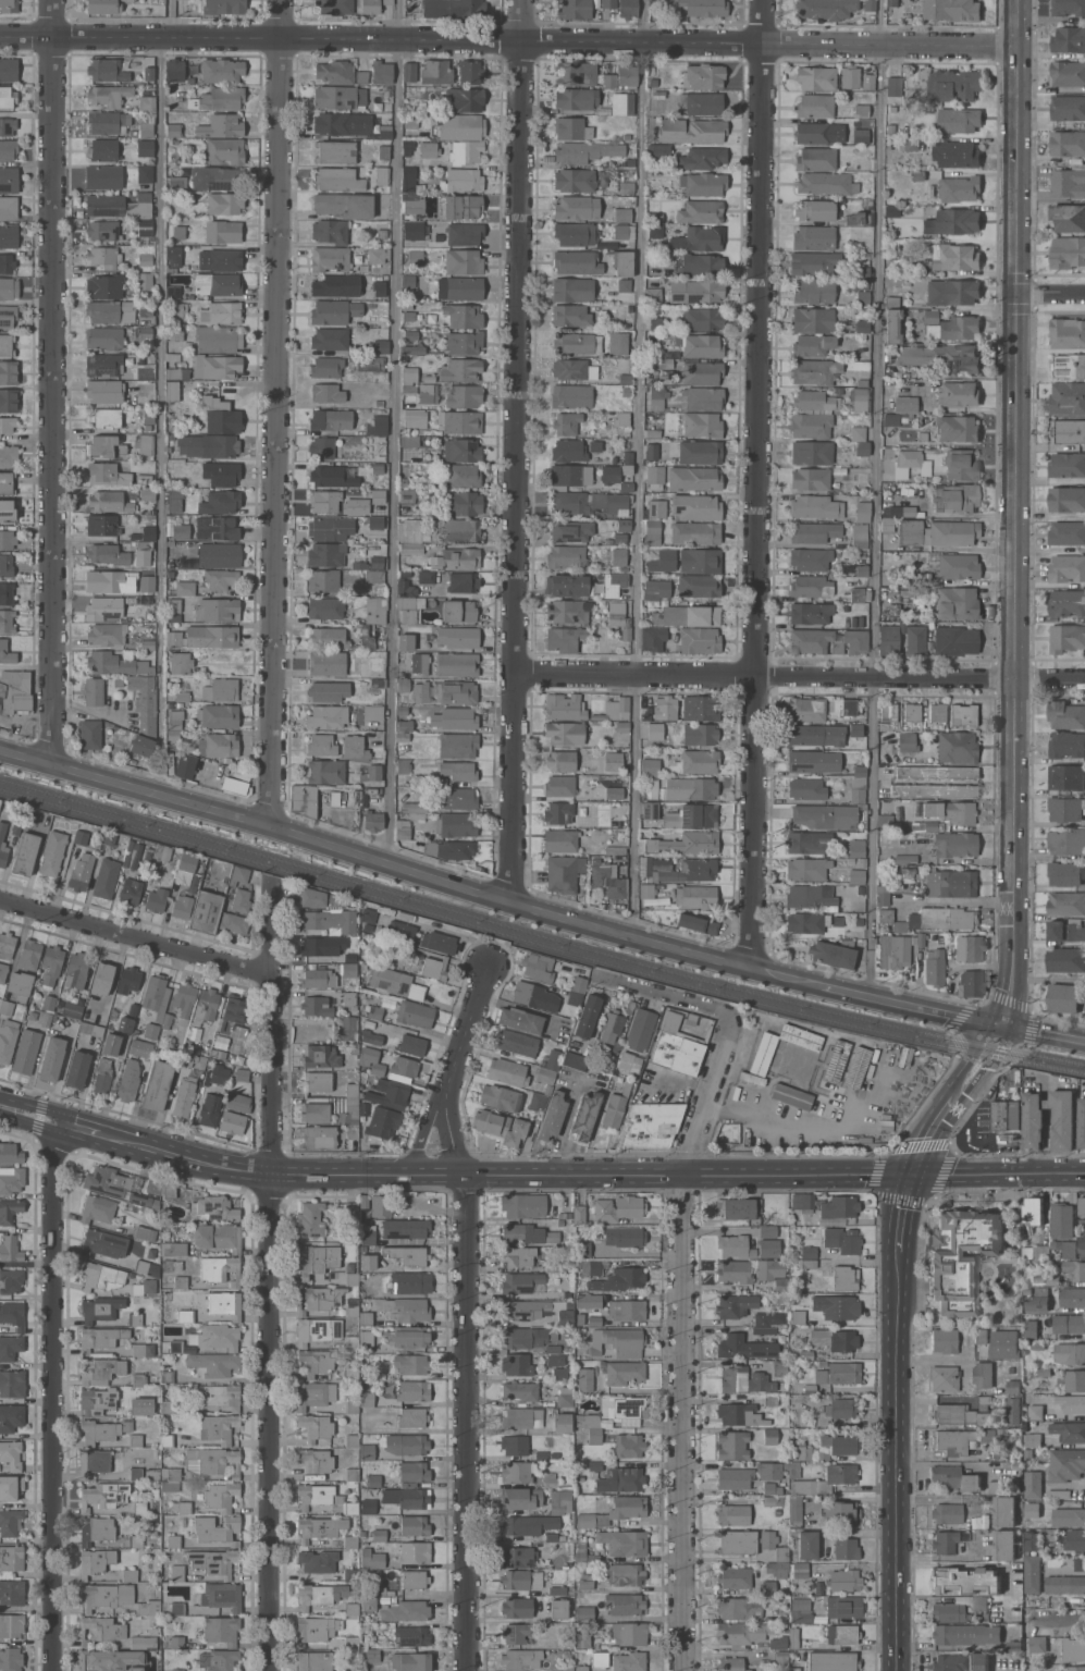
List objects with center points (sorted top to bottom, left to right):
building: (130, 0)
building: (387, 2)
building: (605, 3)
building: (613, 3)
building: (892, 3)
building: (9, 5)
building: (103, 5)
building: (371, 5)
building: (870, 5)
building: (224, 7)
building: (334, 7)
building: (705, 7)
building: (454, 8)
building: (628, 8)
building: (1068, 8)
building: (575, 9)
building: (825, 9)
building: (951, 10)
road: (170, 19)
road: (399, 20)
road: (642, 23)
road: (883, 23)
building: (1069, 38)
road: (508, 41)
building: (9, 69)
building: (104, 69)
building: (174, 70)
building: (221, 70)
building: (382, 71)
building: (436, 71)
building: (149, 72)
building: (335, 72)
building: (410, 72)
building: (471, 72)
building: (577, 73)
building: (1068, 73)
building: (627, 75)
building: (703, 75)
building: (361, 76)
building: (850, 76)
building: (816, 77)
building: (609, 79)
building: (653, 81)
building: (868, 81)
building: (953, 85)
building: (893, 86)
building: (386, 90)
building: (109, 94)
building: (657, 94)
building: (8, 97)
building: (340, 97)
building: (219, 98)
building: (576, 98)
building: (465, 99)
building: (147, 102)
building: (702, 102)
building: (622, 103)
building: (815, 105)
building: (1068, 108)
building: (862, 110)
building: (958, 120)
building: (108, 121)
building: (411, 122)
building: (343, 123)
building: (7, 125)
building: (221, 125)
building: (467, 127)
building: (571, 128)
building: (890, 128)
building: (143, 130)
building: (173, 130)
building: (692, 130)
building: (385, 131)
building: (822, 132)
building: (861, 135)
building: (909, 143)
building: (1068, 143)
building: (145, 147)
building: (408, 147)
building: (8, 148)
building: (103, 149)
building: (428, 149)
building: (659, 149)
building: (225, 150)
building: (335, 151)
building: (384, 151)
building: (465, 151)
building: (585, 151)
building: (957, 153)
building: (702, 158)
building: (816, 158)
building: (145, 173)
building: (382, 175)
building: (918, 175)
building: (103, 176)
building: (215, 177)
building: (337, 179)
building: (409, 179)
building: (9, 180)
building: (461, 180)
building: (575, 180)
building: (824, 182)
building: (1068, 182)
building: (177, 183)
building: (627, 183)
building: (704, 183)
building: (959, 187)
building: (842, 199)
building: (224, 202)
building: (344, 204)
building: (120, 205)
building: (414, 206)
building: (461, 206)
building: (9, 207)
building: (574, 207)
building: (816, 209)
building: (892, 210)
building: (701, 211)
building: (622, 214)
building: (655, 217)
building: (1068, 217)
building: (860, 218)
building: (953, 221)
building: (145, 226)
building: (410, 228)
building: (103, 230)
building: (175, 230)
building: (655, 230)
building: (223, 231)
building: (330, 231)
building: (620, 231)
building: (382, 233)
building: (465, 233)
building: (575, 233)
building: (9, 235)
building: (700, 237)
building: (814, 237)
building: (1068, 253)
building: (174, 255)
building: (379, 255)
building: (103, 256)
building: (415, 257)
building: (954, 257)
building: (146, 258)
building: (330, 258)
building: (221, 259)
building: (463, 261)
building: (577, 261)
building: (7, 262)
building: (622, 262)
building: (813, 262)
building: (702, 265)
building: (862, 272)
building: (145, 281)
building: (408, 282)
building: (218, 284)
building: (624, 284)
building: (104, 285)
building: (336, 285)
building: (380, 287)
building: (460, 287)
building: (9, 288)
building: (572, 288)
building: (695, 291)
building: (814, 291)
building: (952, 291)
building: (173, 292)
building: (653, 295)
road: (1050, 295)
building: (863, 297)
traffic signals: (1016, 297)
building: (892, 300)
building: (407, 305)
building: (146, 308)
building: (177, 310)
building: (111, 311)
building: (334, 311)
building: (221, 312)
building: (8, 315)
building: (409, 315)
building: (463, 315)
building: (571, 315)
building: (929, 316)
building: (702, 318)
building: (813, 319)
building: (384, 321)
building: (655, 323)
building: (862, 325)
building: (892, 325)
building: (954, 328)
building: (1066, 332)
building: (176, 333)
building: (410, 334)
building: (144, 335)
building: (106, 337)
building: (218, 339)
building: (330, 339)
building: (464, 342)
building: (578, 342)
building: (618, 343)
building: (813, 344)
building: (7, 345)
building: (381, 345)
building: (700, 345)
building: (412, 349)
building: (352, 357)
building: (940, 357)
building: (432, 359)
road: (638, 359)
building: (666, 363)
road: (877, 363)
building: (103, 365)
building: (215, 366)
building: (326, 366)
building: (373, 366)
building: (1070, 366)
building: (570, 368)
building: (460, 369)
building: (702, 371)
building: (815, 371)
building: (9, 372)
building: (177, 372)
building: (409, 374)
building: (429, 377)
building: (626, 378)
road: (51, 381)
building: (862, 382)
building: (104, 390)
building: (173, 390)
building: (328, 392)
building: (428, 393)
building: (959, 393)
building: (860, 394)
building: (409, 395)
building: (464, 395)
building: (570, 395)
building: (657, 396)
building: (703, 397)
building: (817, 398)
building: (1068, 398)
building: (9, 400)
building: (905, 404)
road: (276, 413)
building: (220, 415)
building: (149, 416)
road: (160, 416)
building: (106, 418)
building: (415, 418)
building: (621, 418)
building: (331, 419)
building: (891, 419)
building: (904, 419)
building: (460, 421)
building: (567, 422)
building: (7, 423)
building: (702, 423)
building: (380, 425)
building: (812, 425)
building: (148, 427)
building: (958, 428)
building: (1068, 431)
building: (653, 432)
building: (858, 432)
building: (923, 435)
building: (406, 440)
building: (144, 444)
building: (347, 444)
building: (106, 445)
building: (208, 445)
building: (322, 446)
building: (861, 447)
building: (463, 450)
road: (520, 450)
building: (568, 450)
road: (393, 451)
building: (651, 451)
building: (700, 452)
building: (812, 452)
building: (889, 452)
building: (8, 455)
building: (628, 457)
building: (911, 463)
building: (960, 464)
building: (1066, 465)
building: (378, 468)
building: (627, 469)
building: (221, 472)
building: (108, 474)
building: (463, 475)
building: (571, 475)
building: (331, 476)
building: (655, 476)
building: (614, 477)
building: (144, 478)
building: (693, 478)
building: (811, 478)
road: (1013, 480)
building: (178, 481)
building: (7, 482)
road: (753, 482)
building: (559, 487)
building: (148, 492)
building: (377, 495)
building: (407, 495)
building: (955, 497)
building: (1066, 499)
building: (175, 500)
building: (324, 500)
building: (109, 501)
building: (220, 501)
building: (589, 502)
building: (463, 503)
building: (356, 505)
building: (696, 506)
building: (816, 506)
building: (862, 507)
building: (657, 508)
building: (7, 509)
building: (902, 509)
building: (375, 521)
building: (102, 524)
building: (624, 525)
building: (887, 525)
building: (217, 527)
building: (330, 527)
building: (456, 529)
building: (571, 529)
building: (181, 530)
building: (148, 531)
building: (415, 531)
building: (653, 531)
building: (815, 531)
building: (695, 532)
building: (938, 532)
building: (1066, 532)
building: (860, 535)
building: (620, 537)
building: (8, 539)
building: (411, 548)
building: (143, 552)
building: (108, 553)
building: (219, 554)
building: (326, 554)
building: (566, 556)
building: (619, 556)
building: (456, 558)
building: (811, 558)
building: (700, 560)
building: (663, 561)
building: (375, 562)
building: (7, 564)
building: (358, 564)
building: (958, 565)
building: (1066, 568)
building: (861, 569)
building: (405, 574)
building: (374, 575)
building: (427, 576)
building: (220, 578)
building: (323, 579)
building: (110, 580)
building: (463, 581)
building: (147, 582)
building: (615, 582)
building: (569, 585)
building: (699, 585)
building: (811, 586)
building: (185, 587)
building: (406, 588)
building: (656, 588)
building: (900, 590)
building: (7, 592)
building: (858, 594)
building: (954, 602)
building: (1066, 602)
building: (325, 606)
building: (103, 607)
building: (847, 607)
building: (173, 609)
building: (217, 609)
building: (410, 609)
building: (375, 610)
building: (458, 610)
building: (893, 610)
building: (571, 611)
building: (809, 612)
building: (616, 613)
building: (688, 615)
building: (7, 621)
building: (861, 621)
building: (107, 632)
building: (626, 634)
building: (211, 636)
building: (368, 636)
building: (456, 636)
building: (328, 637)
building: (1066, 637)
building: (174, 638)
building: (564, 638)
building: (654, 638)
building: (699, 639)
building: (148, 640)
building: (955, 640)
building: (406, 641)
building: (809, 641)
building: (916, 642)
building: (355, 647)
building: (7, 652)
building: (403, 656)
building: (374, 660)
building: (180, 662)
building: (331, 662)
building: (420, 662)
building: (114, 663)
building: (456, 663)
road: (802, 677)
building: (119, 681)
building: (378, 681)
building: (403, 684)
building: (221, 689)
building: (15, 690)
building: (329, 690)
building: (94, 691)
building: (456, 691)
building: (417, 692)
building: (182, 696)
building: (145, 702)
building: (170, 705)
building: (565, 707)
building: (665, 707)
building: (701, 707)
building: (849, 707)
building: (645, 708)
building: (403, 709)
building: (614, 709)
building: (806, 709)
building: (373, 712)
building: (912, 712)
building: (937, 712)
building: (963, 714)
building: (1065, 714)
building: (219, 715)
building: (328, 715)
building: (887, 715)
building: (458, 717)
building: (175, 718)
building: (437, 723)
building: (405, 724)
building: (917, 725)
building: (621, 726)
building: (856, 729)
building: (654, 730)
building: (565, 732)
building: (700, 733)
building: (90, 734)
building: (173, 734)
building: (817, 734)
building: (403, 736)
building: (908, 741)
building: (221, 744)
building: (1066, 744)
building: (141, 745)
building: (322, 745)
building: (458, 745)
building: (354, 747)
building: (957, 747)
building: (187, 759)
building: (562, 760)
building: (700, 760)
building: (813, 760)
building: (613, 761)
building: (404, 765)
building: (650, 765)
building: (458, 770)
building: (326, 771)
building: (374, 771)
building: (859, 771)
building: (936, 771)
building: (1066, 777)
building: (440, 781)
building: (559, 785)
building: (680, 788)
building: (806, 788)
building: (306, 789)
building: (858, 789)
building: (934, 789)
building: (614, 791)
building: (459, 798)
building: (304, 803)
road: (633, 804)
building: (415, 807)
building: (1064, 809)
building: (951, 811)
building: (559, 812)
building: (414, 815)
building: (678, 815)
building: (826, 815)
building: (373, 820)
building: (885, 820)
building: (905, 823)
building: (455, 824)
building: (897, 824)
building: (924, 825)
building: (16, 826)
building: (403, 828)
road: (871, 836)
building: (81, 837)
building: (109, 837)
building: (560, 839)
building: (809, 840)
building: (686, 841)
building: (1066, 841)
building: (3, 844)
building: (955, 844)
building: (856, 848)
building: (455, 849)
building: (615, 849)
building: (52, 852)
building: (25, 853)
building: (148, 853)
building: (133, 855)
building: (160, 856)
road: (373, 858)
building: (905, 858)
building: (187, 862)
building: (646, 862)
building: (862, 862)
building: (807, 868)
building: (908, 869)
building: (690, 870)
building: (564, 872)
building: (1065, 873)
building: (856, 876)
building: (79, 877)
building: (106, 877)
building: (236, 878)
building: (608, 880)
building: (950, 882)
building: (646, 890)
building: (131, 892)
building: (883, 892)
building: (696, 896)
building: (810, 896)
building: (320, 897)
building: (157, 899)
building: (241, 899)
building: (1066, 904)
building: (182, 907)
building: (207, 911)
building: (368, 914)
building: (927, 918)
building: (329, 919)
building: (838, 920)
building: (859, 921)
building: (233, 922)
building: (807, 922)
building: (698, 923)
building: (403, 931)
building: (1065, 931)
railway: (539, 933)
road: (134, 935)
building: (922, 939)
building: (439, 942)
railway: (539, 943)
building: (7, 944)
building: (317, 946)
building: (969, 947)
building: (404, 948)
building: (900, 950)
building: (29, 954)
building: (831, 954)
building: (349, 957)
building: (1065, 959)
building: (51, 964)
building: (431, 967)
building: (538, 967)
building: (935, 967)
building: (77, 969)
building: (349, 969)
building: (3, 971)
building: (102, 978)
building: (319, 978)
building: (128, 980)
building: (393, 982)
building: (578, 983)
building: (971, 983)
building: (20, 984)
road: (667, 993)
road: (1009, 993)
building: (157, 995)
building: (530, 995)
building: (576, 996)
road: (874, 996)
building: (1063, 997)
building: (350, 998)
building: (185, 1000)
road: (982, 1000)
building: (49, 1002)
building: (206, 1006)
building: (317, 1006)
building: (7, 1007)
building: (72, 1008)
building: (234, 1008)
building: (133, 1009)
road: (1025, 1009)
building: (403, 1012)
building: (588, 1015)
road: (960, 1017)
building: (45, 1018)
road: (1058, 1018)
building: (167, 1019)
building: (519, 1019)
building: (691, 1019)
building: (125, 1023)
building: (369, 1023)
traffic signals: (1000, 1023)
building: (611, 1027)
building: (91, 1028)
building: (640, 1029)
building: (151, 1030)
building: (346, 1030)
road: (1043, 1030)
building: (239, 1031)
road: (269, 1033)
building: (371, 1037)
building: (8, 1039)
building: (518, 1042)
building: (411, 1044)
building: (116, 1045)
building: (675, 1046)
building: (141, 1047)
building: (354, 1047)
building: (810, 1049)
building: (26, 1052)
building: (320, 1056)
building: (762, 1056)
building: (188, 1057)
building: (51, 1058)
building: (554, 1058)
building: (352, 1059)
building: (371, 1059)
road: (977, 1059)
building: (575, 1060)
building: (836, 1060)
building: (629, 1061)
building: (404, 1066)
building: (77, 1069)
building: (508, 1071)
building: (217, 1073)
building: (242, 1074)
building: (545, 1074)
building: (102, 1076)
building: (853, 1077)
building: (752, 1078)
building: (130, 1080)
building: (318, 1080)
building: (158, 1084)
building: (547, 1089)
building: (352, 1090)
road: (982, 1092)
building: (390, 1093)
road: (932, 1093)
building: (790, 1095)
building: (184, 1096)
building: (513, 1099)
building: (237, 1102)
building: (616, 1106)
building: (363, 1107)
building: (210, 1109)
building: (315, 1109)
building: (1006, 1109)
building: (348, 1110)
road: (28, 1114)
building: (585, 1114)
building: (553, 1115)
building: (1063, 1117)
building: (232, 1121)
building: (383, 1121)
road: (794, 1122)
building: (1082, 1122)
building: (1006, 1123)
building: (651, 1125)
building: (501, 1126)
road: (567, 1126)
road: (77, 1127)
building: (353, 1130)
road: (424, 1130)
road: (926, 1132)
building: (319, 1135)
building: (10, 1153)
road: (1018, 1153)
road: (878, 1168)
road: (942, 1172)
road: (996, 1172)
road: (793, 1174)
traffic signals: (908, 1174)
road: (385, 1177)
building: (11, 1179)
building: (107, 1180)
building: (153, 1185)
building: (168, 1190)
road: (1009, 1193)
building: (145, 1199)
building: (803, 1201)
building: (377, 1203)
building: (523, 1204)
building: (839, 1206)
building: (1082, 1206)
building: (212, 1207)
building: (618, 1207)
building: (738, 1207)
building: (97, 1208)
building: (352, 1208)
building: (9, 1209)
building: (1034, 1211)
road: (899, 1213)
building: (565, 1214)
building: (580, 1215)
building: (310, 1219)
building: (1061, 1219)
building: (560, 1221)
building: (414, 1228)
building: (768, 1231)
building: (141, 1232)
building: (527, 1233)
building: (218, 1236)
building: (368, 1236)
building: (625, 1236)
building: (1082, 1238)
building: (842, 1239)
building: (103, 1242)
building: (736, 1245)
building: (768, 1246)
building: (10, 1248)
building: (174, 1248)
building: (582, 1248)
building: (1065, 1248)
building: (809, 1251)
building: (595, 1252)
building: (1036, 1252)
building: (408, 1254)
building: (518, 1255)
building: (960, 1257)
building: (317, 1258)
building: (368, 1261)
building: (1059, 1262)
building: (170, 1264)
building: (805, 1264)
building: (552, 1265)
building: (589, 1266)
building: (147, 1267)
building: (221, 1268)
building: (769, 1268)
building: (1075, 1268)
building: (733, 1270)
building: (352, 1273)
building: (102, 1276)
building: (846, 1277)
building: (618, 1279)
building: (1047, 1279)
building: (11, 1280)
building: (181, 1281)
building: (520, 1281)
building: (411, 1282)
building: (1065, 1282)
building: (780, 1285)
building: (143, 1287)
building: (1027, 1290)
building: (369, 1292)
building: (564, 1293)
building: (1071, 1297)
building: (318, 1298)
building: (1038, 1300)
building: (223, 1303)
building: (736, 1304)
building: (352, 1306)
building: (837, 1306)
building: (100, 1307)
building: (406, 1308)
building: (627, 1308)
building: (534, 1310)
building: (579, 1310)
road: (467, 1313)
building: (13, 1314)
building: (184, 1315)
building: (799, 1316)
building: (366, 1317)
building: (768, 1317)
building: (135, 1318)
building: (1069, 1323)
building: (317, 1329)
building: (765, 1329)
building: (1031, 1329)
building: (981, 1335)
building: (217, 1336)
building: (409, 1336)
building: (519, 1336)
building: (99, 1337)
road: (680, 1338)
building: (835, 1339)
building: (367, 1340)
building: (944, 1340)
building: (352, 1341)
building: (618, 1341)
building: (1003, 1343)
building: (1037, 1344)
building: (176, 1346)
building: (10, 1347)
building: (747, 1347)
building: (553, 1348)
building: (143, 1349)
building: (1070, 1353)
building: (806, 1354)
building: (556, 1359)
building: (317, 1361)
building: (213, 1363)
building: (411, 1363)
building: (823, 1363)
building: (517, 1364)
building: (779, 1368)
building: (100, 1369)
building: (1044, 1371)
building: (622, 1372)
building: (352, 1373)
building: (559, 1373)
building: (839, 1373)
building: (982, 1374)
building: (168, 1376)
building: (944, 1378)
building: (138, 1379)
building: (585, 1379)
building: (745, 1379)
building: (1075, 1380)
building: (12, 1383)
building: (1012, 1386)
building: (389, 1388)
building: (810, 1388)
building: (414, 1390)
building: (519, 1390)
building: (313, 1393)
building: (219, 1394)
road: (52, 1396)
building: (566, 1398)
building: (367, 1399)
building: (984, 1399)
building: (97, 1400)
building: (770, 1400)
building: (1071, 1403)
building: (167, 1406)
building: (352, 1406)
building: (841, 1408)
building: (138, 1410)
building: (627, 1410)
building: (1014, 1411)
building: (1035, 1411)
building: (953, 1413)
building: (740, 1414)
building: (11, 1416)
building: (412, 1416)
building: (521, 1417)
building: (588, 1420)
building: (562, 1422)
road: (272, 1423)
building: (315, 1426)
building: (218, 1427)
building: (102, 1429)
building: (1002, 1430)
building: (1069, 1430)
building: (1031, 1434)
building: (594, 1435)
building: (770, 1436)
building: (989, 1436)
building: (135, 1439)
building: (352, 1439)
building: (167, 1440)
building: (954, 1441)
building: (406, 1443)
building: (840, 1443)
building: (515, 1445)
building: (628, 1445)
building: (731, 1445)
building: (798, 1449)
building: (167, 1451)
building: (368, 1451)
building: (1028, 1452)
building: (11, 1453)
building: (555, 1454)
building: (541, 1455)
building: (212, 1461)
building: (315, 1461)
building: (93, 1462)
road: (895, 1462)
building: (1065, 1464)
building: (595, 1465)
building: (794, 1469)
building: (769, 1470)
building: (415, 1471)
building: (515, 1472)
building: (144, 1473)
building: (173, 1473)
building: (352, 1473)
building: (580, 1477)
building: (735, 1477)
building: (954, 1477)
building: (628, 1478)
building: (374, 1479)
building: (550, 1479)
building: (826, 1479)
building: (1015, 1483)
building: (173, 1484)
building: (1033, 1484)
building: (10, 1486)
building: (996, 1486)
building: (768, 1487)
building: (1059, 1494)
building: (103, 1495)
building: (221, 1495)
building: (317, 1495)
building: (407, 1497)
building: (520, 1498)
building: (560, 1500)
building: (768, 1500)
building: (352, 1504)
building: (368, 1506)
building: (139, 1507)
building: (185, 1507)
building: (796, 1510)
building: (615, 1511)
building: (1004, 1511)
building: (840, 1512)
building: (948, 1512)
building: (733, 1514)
building: (1052, 1515)
building: (10, 1521)
building: (151, 1524)
building: (529, 1524)
building: (414, 1525)
building: (320, 1527)
building: (96, 1528)
building: (218, 1529)
building: (380, 1534)
building: (551, 1535)
building: (1050, 1535)
building: (767, 1538)
building: (1033, 1539)
building: (1074, 1539)
building: (136, 1540)
building: (174, 1540)
building: (350, 1540)
building: (624, 1541)
building: (737, 1541)
building: (945, 1541)
building: (807, 1544)
building: (1004, 1545)
building: (847, 1548)
building: (581, 1551)
building: (415, 1552)
building: (781, 1553)
building: (516, 1556)
building: (12, 1557)
building: (372, 1558)
building: (318, 1560)
building: (95, 1561)
building: (214, 1561)
building: (1080, 1563)
building: (777, 1569)
building: (799, 1570)
building: (177, 1572)
building: (626, 1573)
building: (130, 1574)
building: (350, 1574)
building: (1033, 1574)
building: (735, 1576)
building: (415, 1578)
building: (522, 1578)
building: (843, 1580)
building: (965, 1580)
building: (585, 1582)
building: (1064, 1584)
building: (768, 1586)
building: (382, 1590)
building: (557, 1590)
building: (12, 1592)
building: (321, 1594)
building: (107, 1595)
building: (222, 1595)
building: (368, 1604)
building: (625, 1604)
building: (800, 1604)
building: (979, 1604)
building: (842, 1606)
building: (148, 1607)
building: (517, 1607)
building: (739, 1607)
building: (177, 1608)
building: (352, 1608)
building: (558, 1608)
building: (407, 1610)
building: (948, 1611)
building: (584, 1613)
building: (800, 1617)
road: (1057, 1620)
building: (12, 1625)
building: (377, 1626)
building: (101, 1629)
building: (221, 1629)
building: (317, 1629)
building: (563, 1629)
building: (516, 1632)
building: (744, 1632)
building: (629, 1633)
building: (846, 1634)
building: (966, 1634)
building: (411, 1635)
building: (793, 1637)
building: (582, 1639)
building: (177, 1641)
building: (143, 1642)
building: (352, 1642)
building: (778, 1642)
building: (1028, 1644)
building: (1073, 1649)
building: (560, 1652)
building: (373, 1656)
building: (521, 1658)
building: (781, 1658)
building: (11, 1659)
building: (103, 1659)
building: (219, 1659)
building: (600, 1659)
building: (315, 1660)
building: (410, 1661)
building: (629, 1661)
building: (833, 1661)
building: (961, 1662)
building: (731, 1663)
building: (1007, 1664)
building: (563, 1668)
building: (581, 1668)
building: (1076, 1668)
building: (176, 1669)
building: (794, 1669)
building: (135, 1670)
building: (352, 1670)

